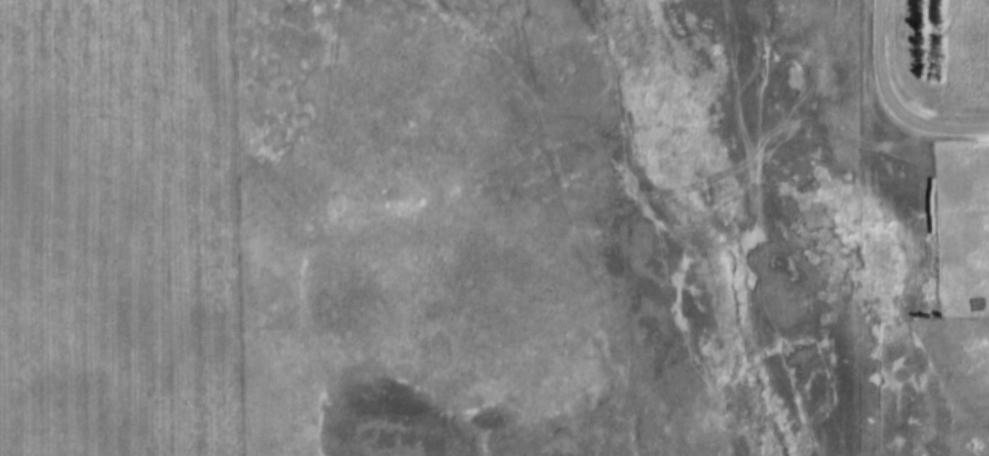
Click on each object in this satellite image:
road: (889, 105)

